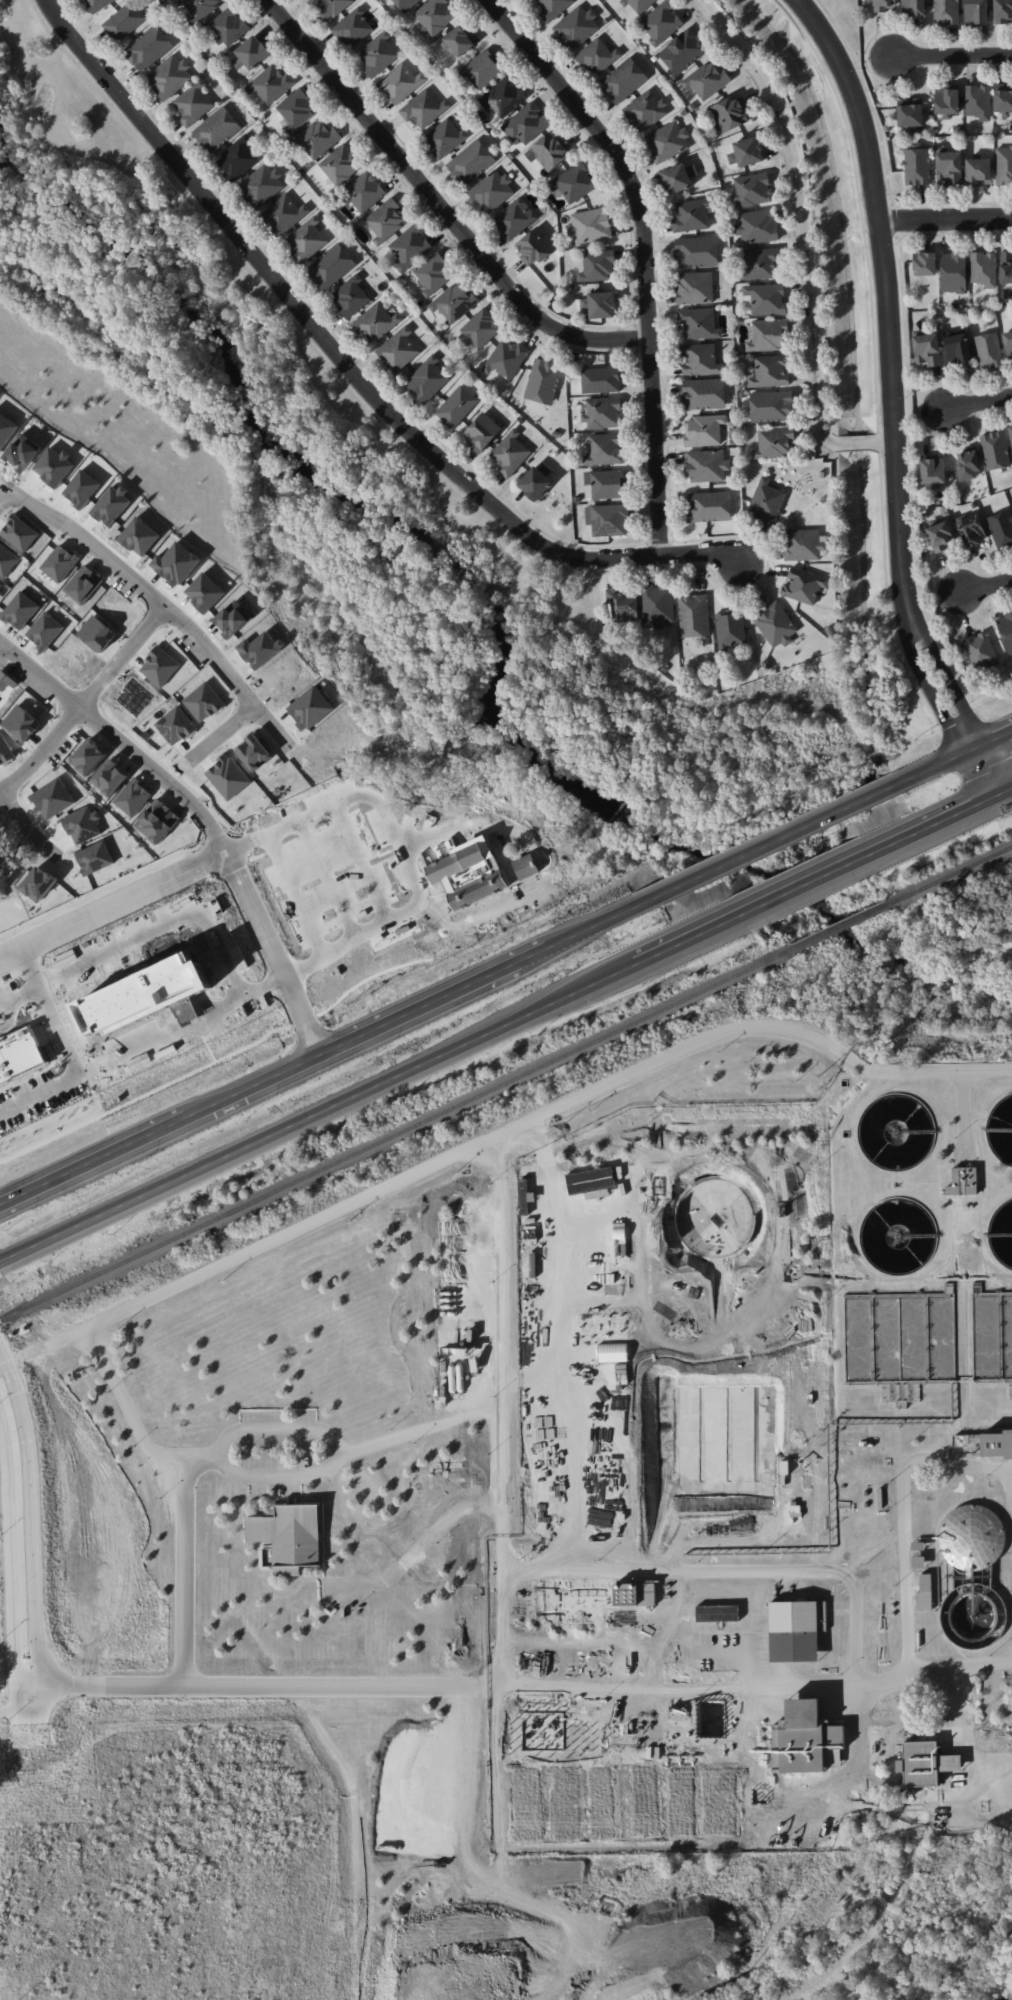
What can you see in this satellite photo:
building: (97, 4)
building: (405, 4)
building: (639, 5)
building: (884, 5)
building: (329, 7)
building: (913, 7)
building: (200, 8)
building: (553, 8)
building: (1002, 11)
building: (946, 12)
building: (976, 12)
building: (435, 15)
building: (124, 21)
building: (661, 22)
building: (228, 26)
building: (577, 27)
building: (353, 28)
building: (461, 40)
building: (148, 48)
building: (682, 51)
building: (250, 54)
building: (378, 54)
building: (597, 56)
road: (952, 56)
building: (482, 69)
building: (169, 76)
building: (623, 80)
building: (707, 80)
building: (400, 83)
building: (271, 84)
building: (503, 97)
building: (1003, 97)
building: (947, 100)
building: (978, 101)
building: (193, 103)
building: (424, 108)
building: (296, 110)
building: (645, 110)
building: (910, 112)
building: (731, 113)
building: (526, 123)
building: (216, 129)
building: (318, 138)
building: (445, 138)
building: (667, 141)
building: (551, 149)
building: (746, 152)
building: (237, 158)
building: (470, 162)
building: (341, 163)
building: (917, 165)
building: (1003, 165)
building: (949, 166)
building: (978, 171)
building: (678, 177)
building: (573, 182)
building: (261, 185)
building: (752, 189)
building: (365, 191)
building: (491, 191)
road: (440, 205)
building: (284, 213)
building: (690, 216)
building: (515, 218)
road: (946, 219)
building: (385, 220)
building: (590, 225)
building: (756, 227)
building: (307, 240)
road: (805, 242)
building: (535, 246)
building: (410, 247)
building: (695, 251)
road: (645, 252)
building: (760, 262)
building: (925, 263)
building: (597, 265)
building: (331, 266)
building: (1006, 266)
building: (983, 268)
building: (953, 272)
building: (434, 273)
building: (694, 287)
building: (350, 296)
building: (765, 298)
building: (455, 302)
building: (600, 304)
building: (376, 322)
building: (699, 323)
building: (479, 329)
building: (768, 335)
building: (1008, 344)
building: (957, 345)
building: (926, 347)
building: (398, 349)
building: (988, 350)
building: (506, 359)
building: (700, 359)
road: (344, 364)
building: (770, 371)
building: (427, 379)
building: (600, 379)
building: (543, 380)
building: (703, 393)
road: (894, 398)
road: (978, 402)
building: (456, 406)
building: (772, 406)
building: (603, 412)
building: (703, 430)
building: (482, 431)
building: (1010, 432)
building: (774, 442)
building: (605, 449)
building: (995, 450)
building: (511, 454)
building: (968, 464)
building: (706, 465)
building: (933, 470)
building: (536, 481)
building: (606, 483)
road: (28, 500)
building: (766, 501)
building: (111, 505)
building: (709, 506)
road: (10, 510)
building: (607, 519)
building: (1001, 529)
building: (972, 530)
building: (940, 535)
building: (139, 536)
building: (803, 544)
building: (60, 563)
building: (803, 585)
road: (986, 587)
building: (623, 604)
building: (657, 605)
building: (694, 616)
road: (184, 622)
building: (775, 624)
building: (730, 628)
building: (1006, 630)
building: (980, 649)
building: (162, 665)
building: (137, 695)
road: (85, 701)
building: (206, 701)
building: (313, 708)
building: (25, 722)
building: (179, 725)
road: (222, 732)
building: (338, 734)
road: (995, 739)
building: (6, 750)
building: (259, 752)
building: (90, 756)
road: (941, 762)
building: (114, 776)
building: (231, 776)
road: (1008, 788)
building: (55, 797)
building: (134, 797)
road: (191, 799)
road: (966, 808)
building: (160, 821)
building: (86, 823)
road: (26, 825)
road: (306, 833)
road: (369, 834)
road: (214, 837)
road: (775, 837)
road: (236, 843)
road: (403, 844)
road: (405, 849)
building: (97, 857)
road: (255, 857)
road: (362, 863)
railway: (964, 870)
building: (469, 874)
road: (331, 881)
building: (43, 883)
road: (807, 883)
road: (102, 888)
road: (298, 895)
road: (112, 906)
road: (166, 920)
railway: (854, 921)
road: (587, 925)
road: (653, 954)
road: (436, 957)
road: (24, 990)
building: (144, 993)
road: (434, 999)
road: (61, 1007)
road: (305, 1020)
road: (197, 1028)
road: (320, 1033)
road: (301, 1042)
road: (209, 1048)
building: (18, 1053)
road: (146, 1053)
road: (926, 1071)
road: (30, 1074)
road: (262, 1081)
road: (146, 1093)
road: (308, 1115)
railway: (396, 1135)
road: (93, 1162)
road: (421, 1172)
building: (963, 1181)
road: (503, 1320)
road: (278, 1431)
building: (996, 1444)
wastewater plant: (761, 1471)
road: (262, 1476)
road: (1010, 1488)
road: (904, 1517)
road: (24, 1523)
building: (289, 1536)
building: (972, 1536)
road: (503, 1538)
road: (427, 1546)
building: (918, 1561)
road: (185, 1567)
road: (731, 1568)
building: (924, 1592)
building: (635, 1593)
building: (717, 1613)
building: (796, 1630)
road: (272, 1682)
road: (706, 1691)
road: (22, 1708)
road: (967, 1736)
building: (806, 1739)
building: (925, 1763)
road: (802, 1991)

